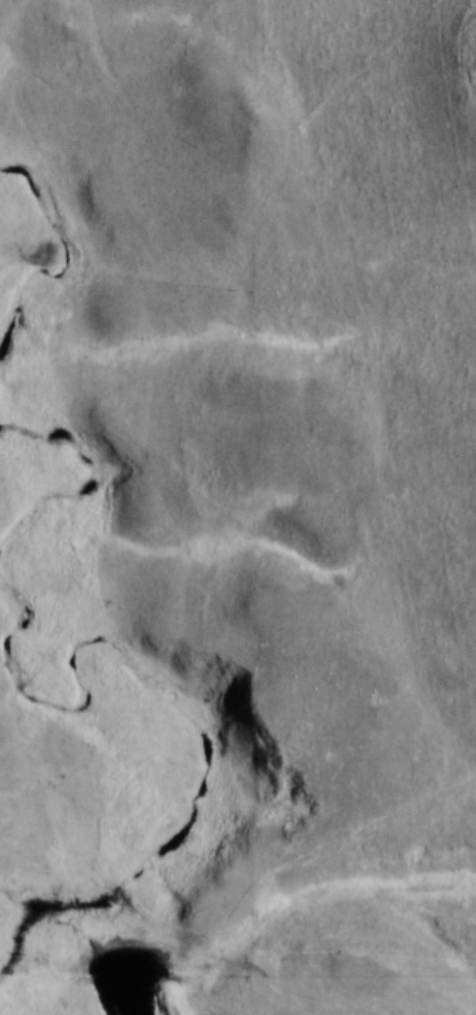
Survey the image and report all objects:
road: (225, 957)
road: (308, 1013)

